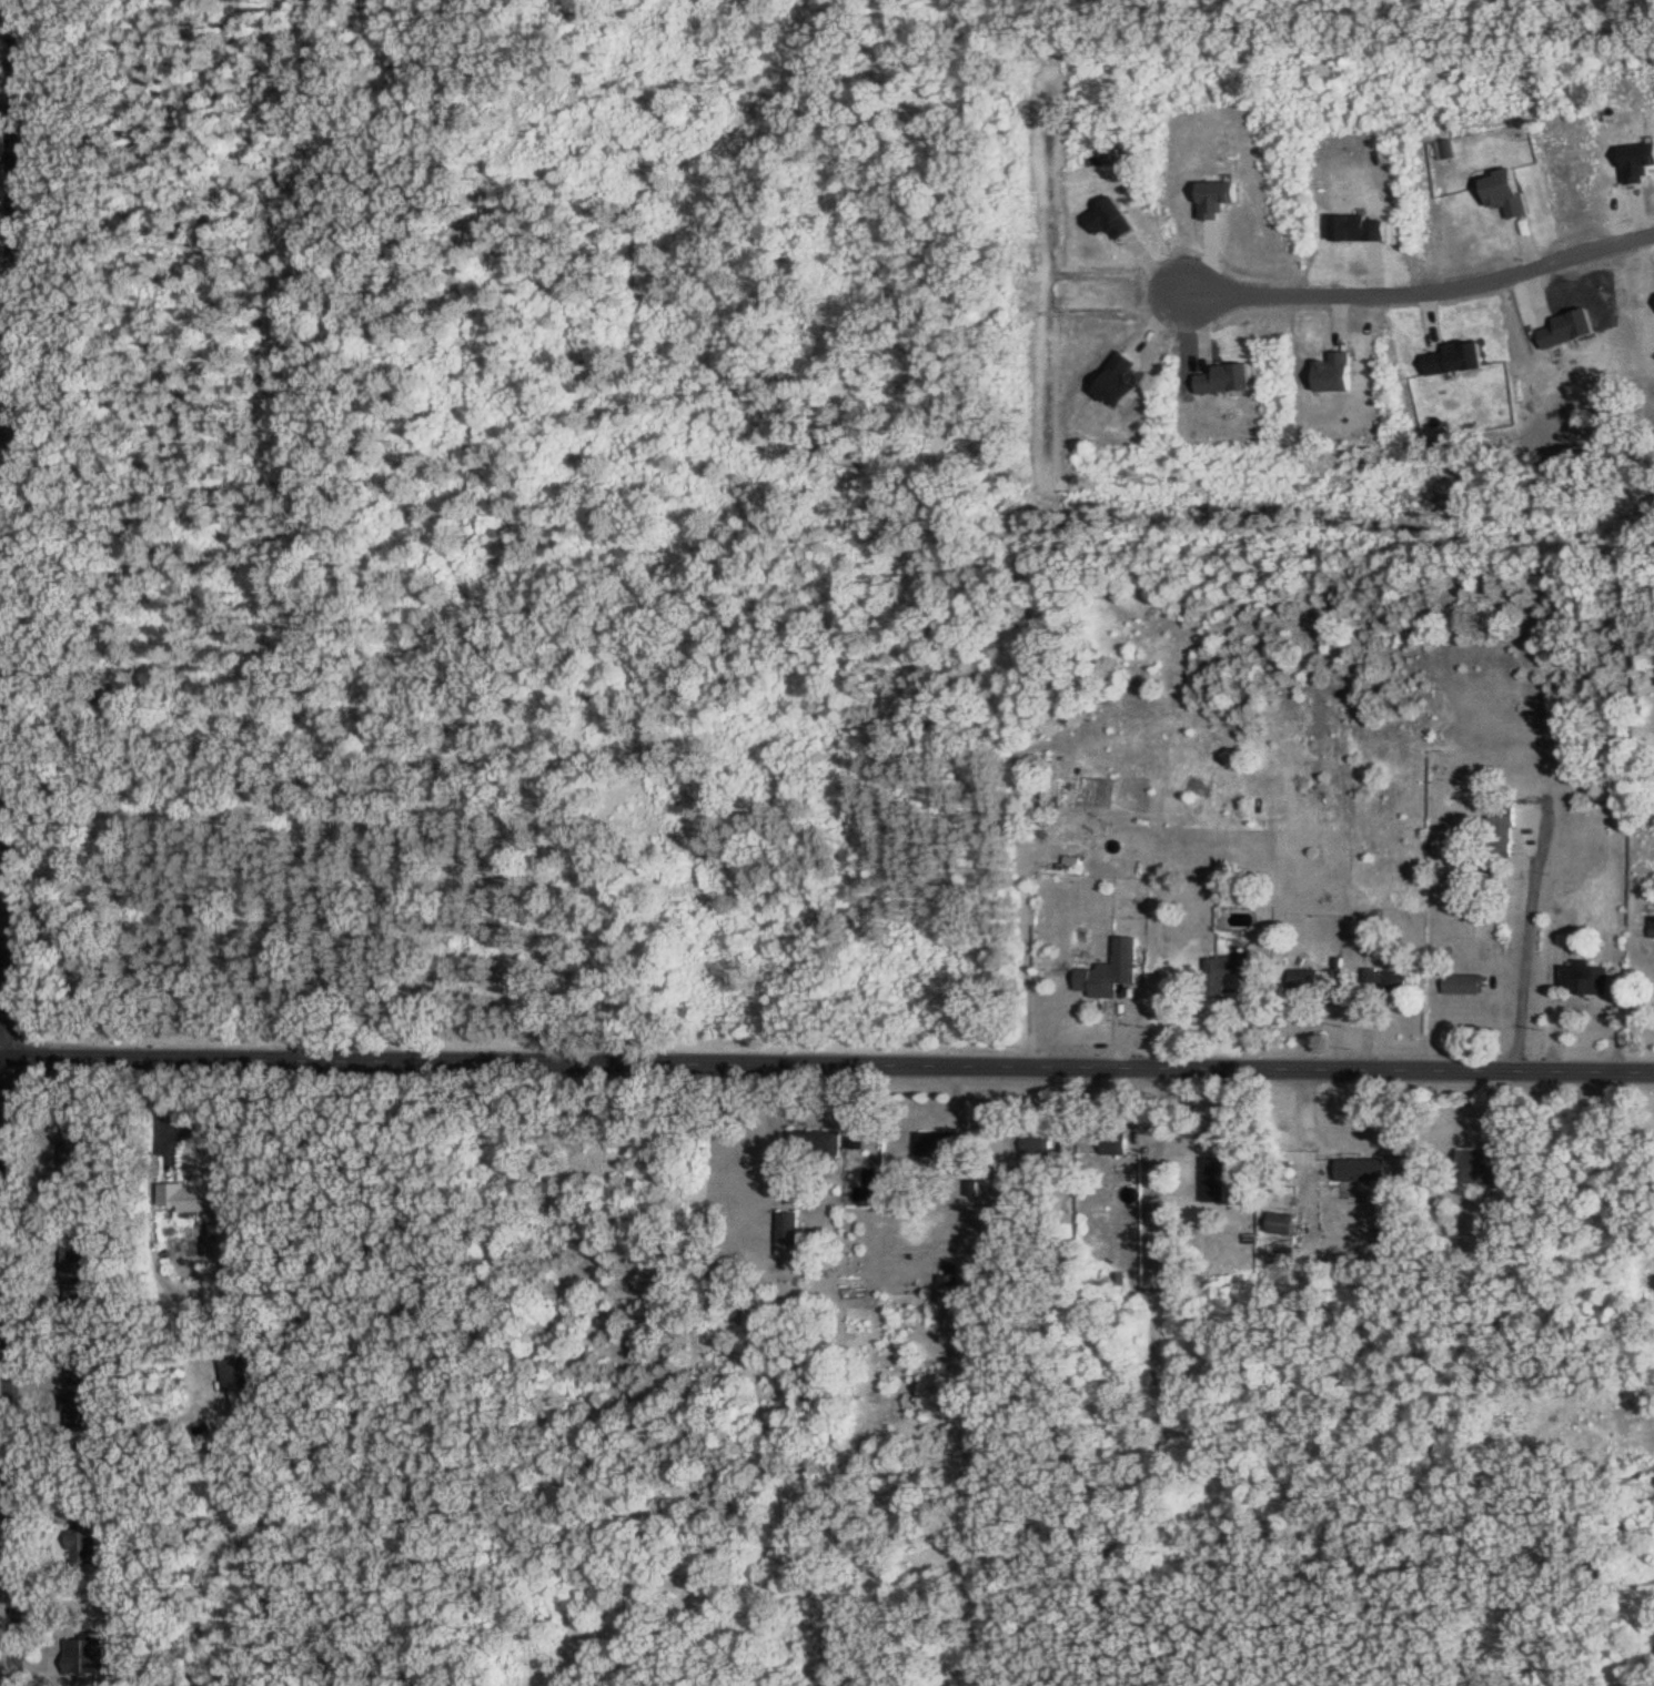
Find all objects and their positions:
road: (7, 24)
road: (3, 90)
road: (3, 169)
road: (1425, 285)
building: (1503, 828)
road: (7, 867)
building: (1653, 926)
road: (1529, 953)
building: (1228, 968)
building: (1111, 970)
building: (1585, 977)
building: (1305, 979)
building: (1389, 979)
building: (1465, 983)
road: (827, 1064)
building: (819, 1142)
building: (1116, 1142)
building: (942, 1143)
building: (1040, 1143)
building: (77, 1145)
building: (1486, 1164)
building: (1363, 1169)
building: (1217, 1178)
building: (193, 1198)
building: (1283, 1222)
building: (790, 1228)
road: (1156, 1238)
building: (78, 1273)
building: (951, 1278)
building: (239, 1374)
building: (80, 1399)
building: (85, 1535)
building: (87, 1656)

